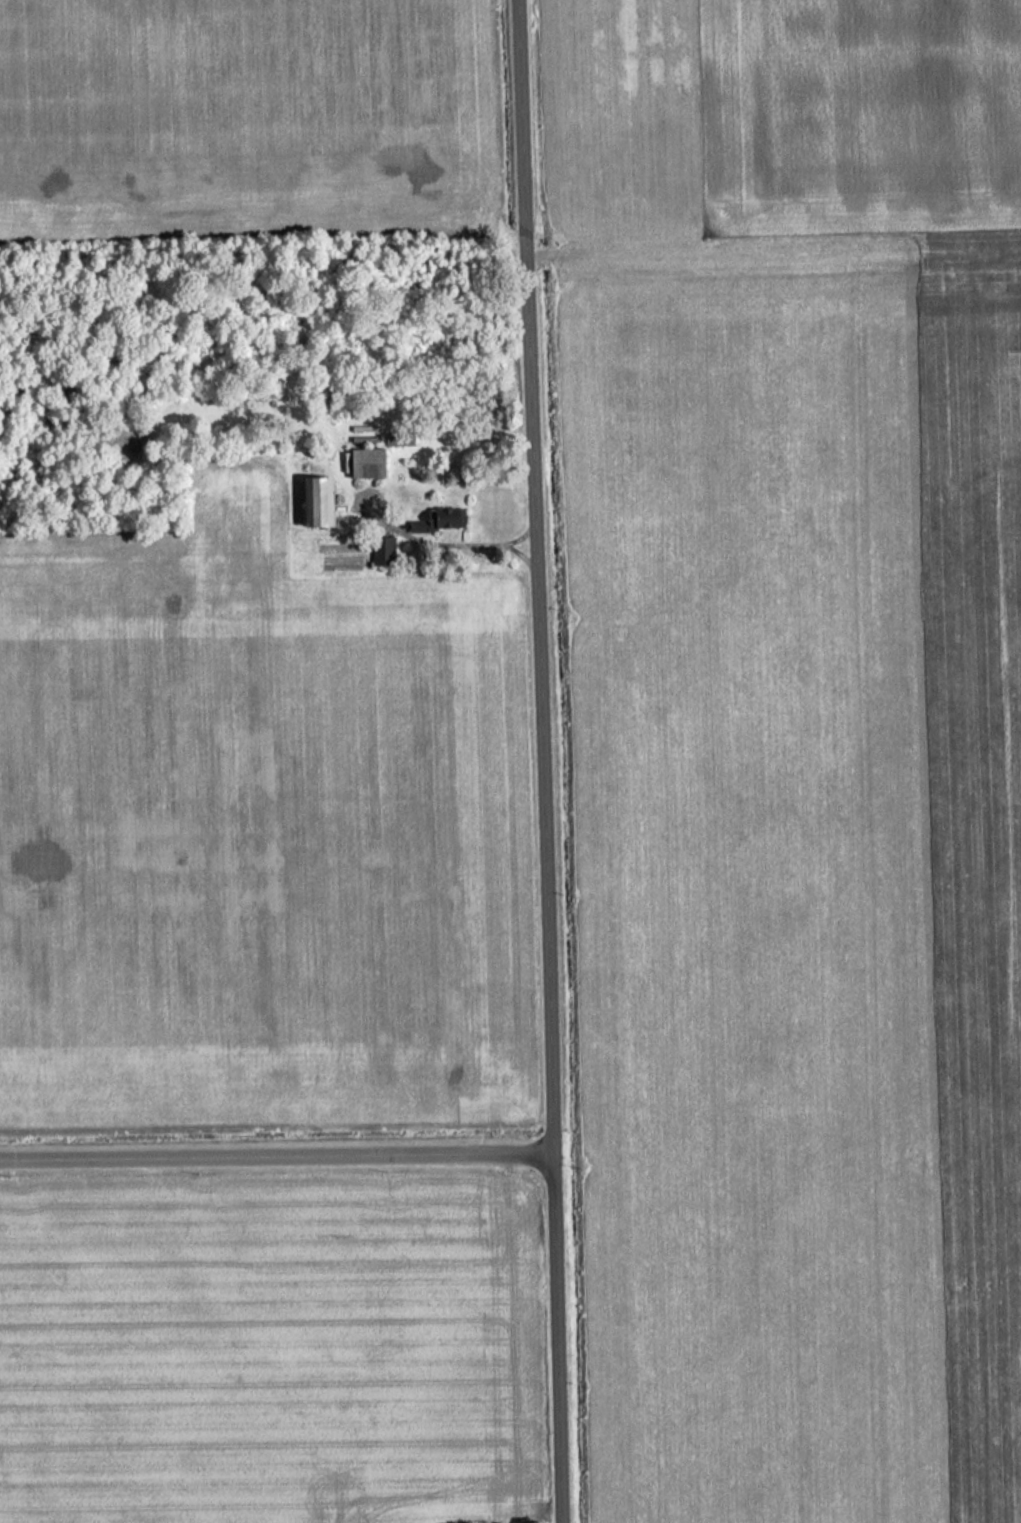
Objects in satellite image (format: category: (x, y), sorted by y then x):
crop: (242, 117)
crop: (778, 120)
building: (364, 463)
building: (314, 501)
building: (438, 521)
building: (380, 551)
road: (546, 761)
crop: (257, 843)
crop: (796, 872)
road: (278, 1152)
crop: (269, 1351)

